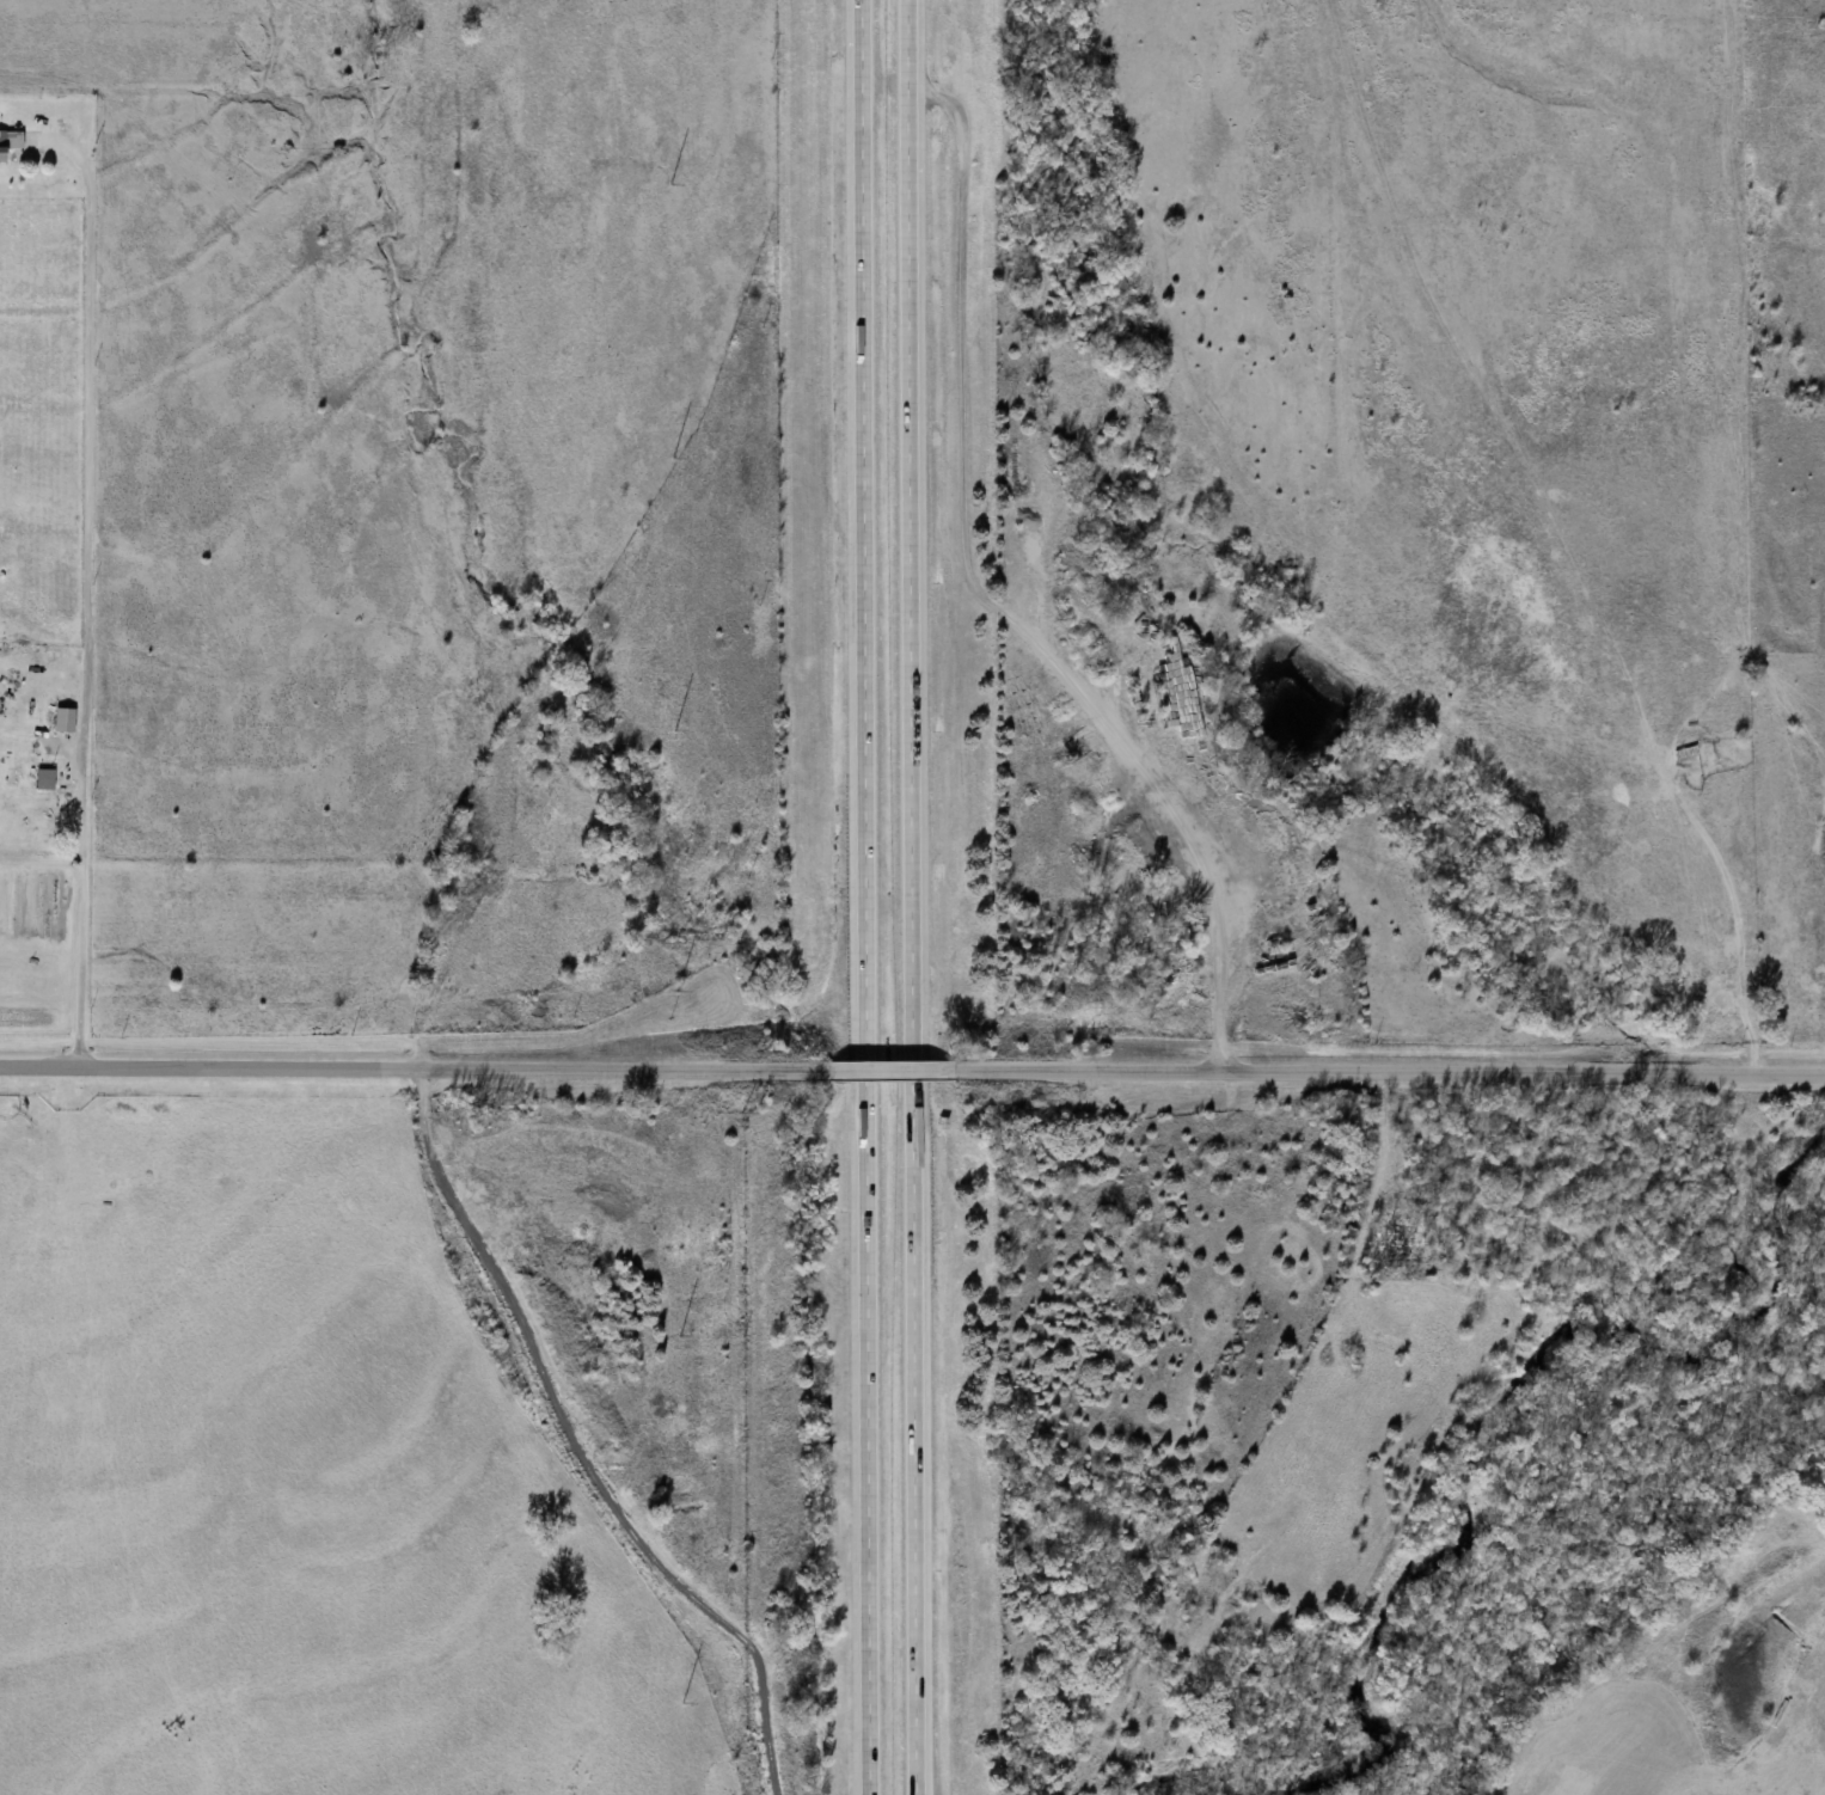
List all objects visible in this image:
building: (13, 142)
road: (855, 532)
road: (899, 532)
road: (93, 588)
building: (65, 719)
building: (45, 779)
building: (25, 802)
road: (403, 1072)
road: (858, 1074)
road: (872, 1074)
road: (904, 1074)
road: (1382, 1074)
building: (1398, 1242)
road: (858, 1440)
road: (904, 1440)

